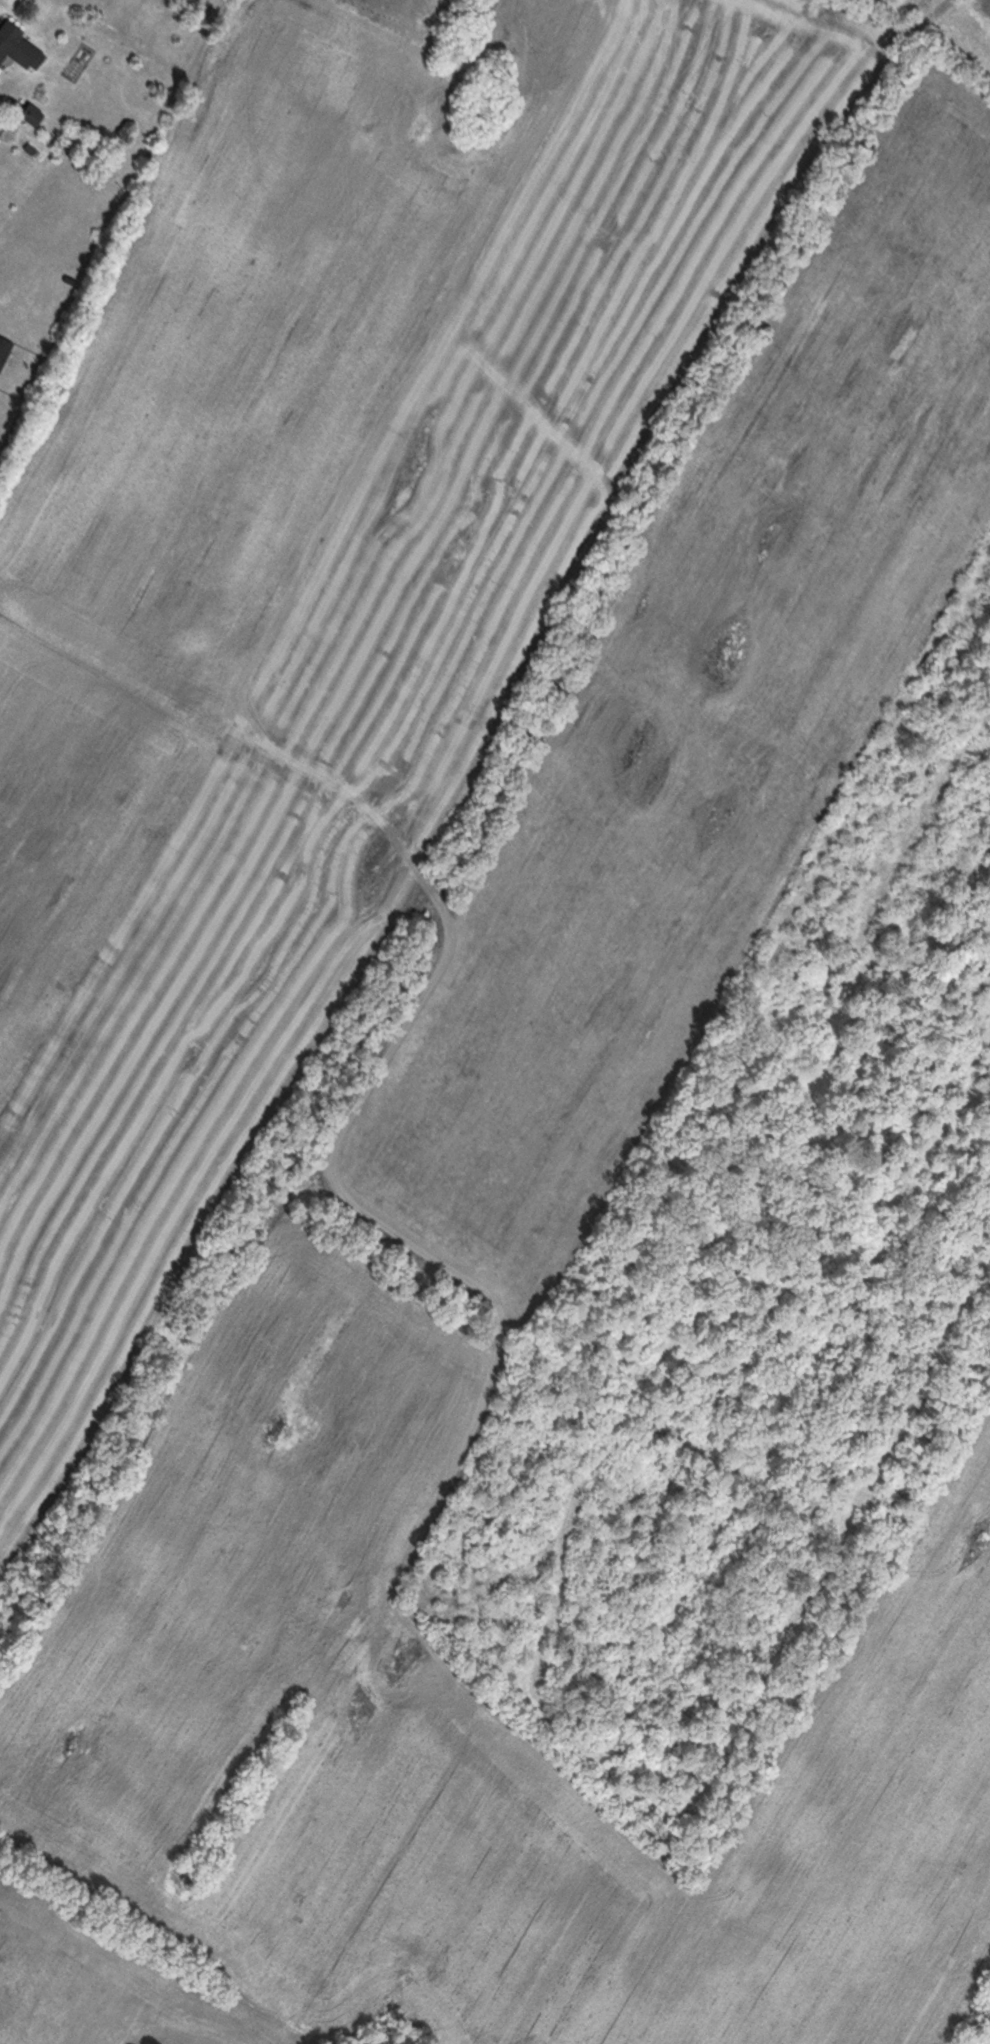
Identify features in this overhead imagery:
building: (18, 46)
building: (29, 111)
building: (3, 347)

